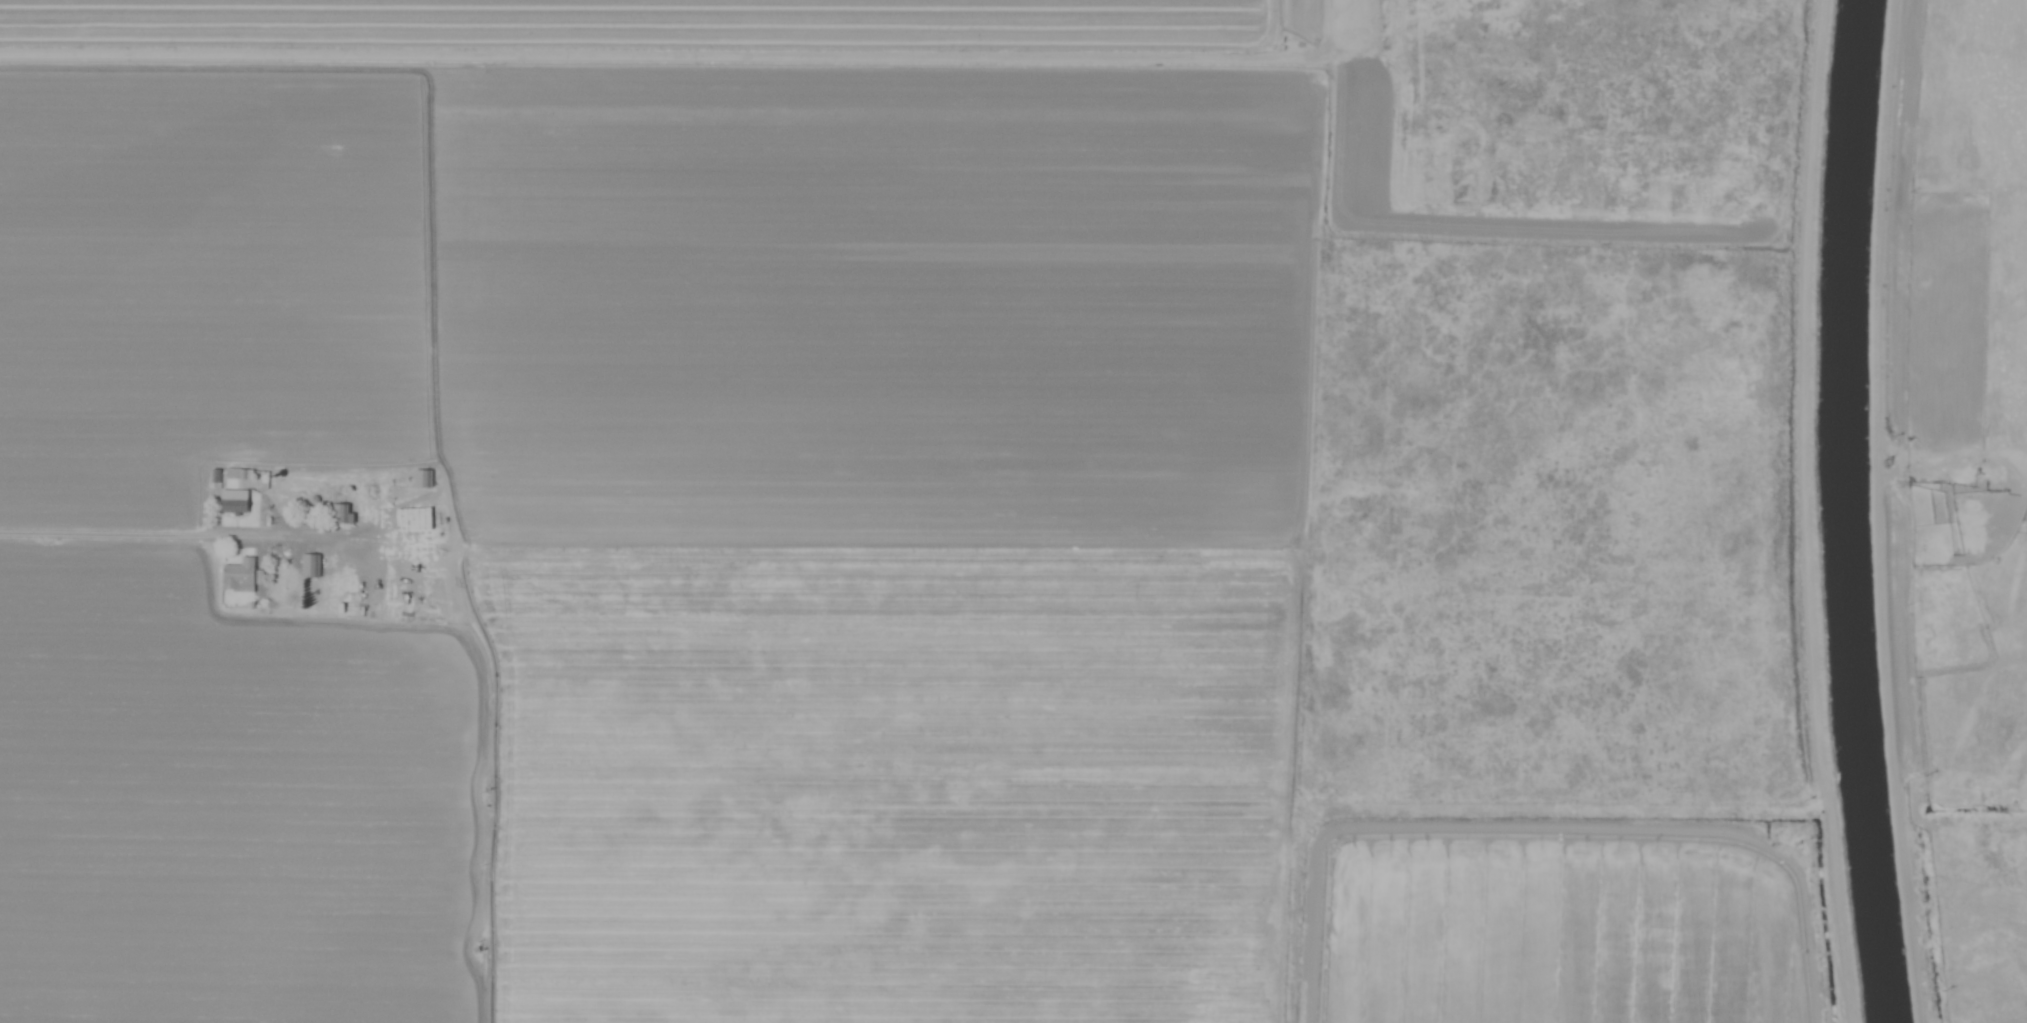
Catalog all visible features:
building: (236, 500)
building: (346, 512)
road: (155, 534)
crop: (747, 542)
building: (241, 574)

